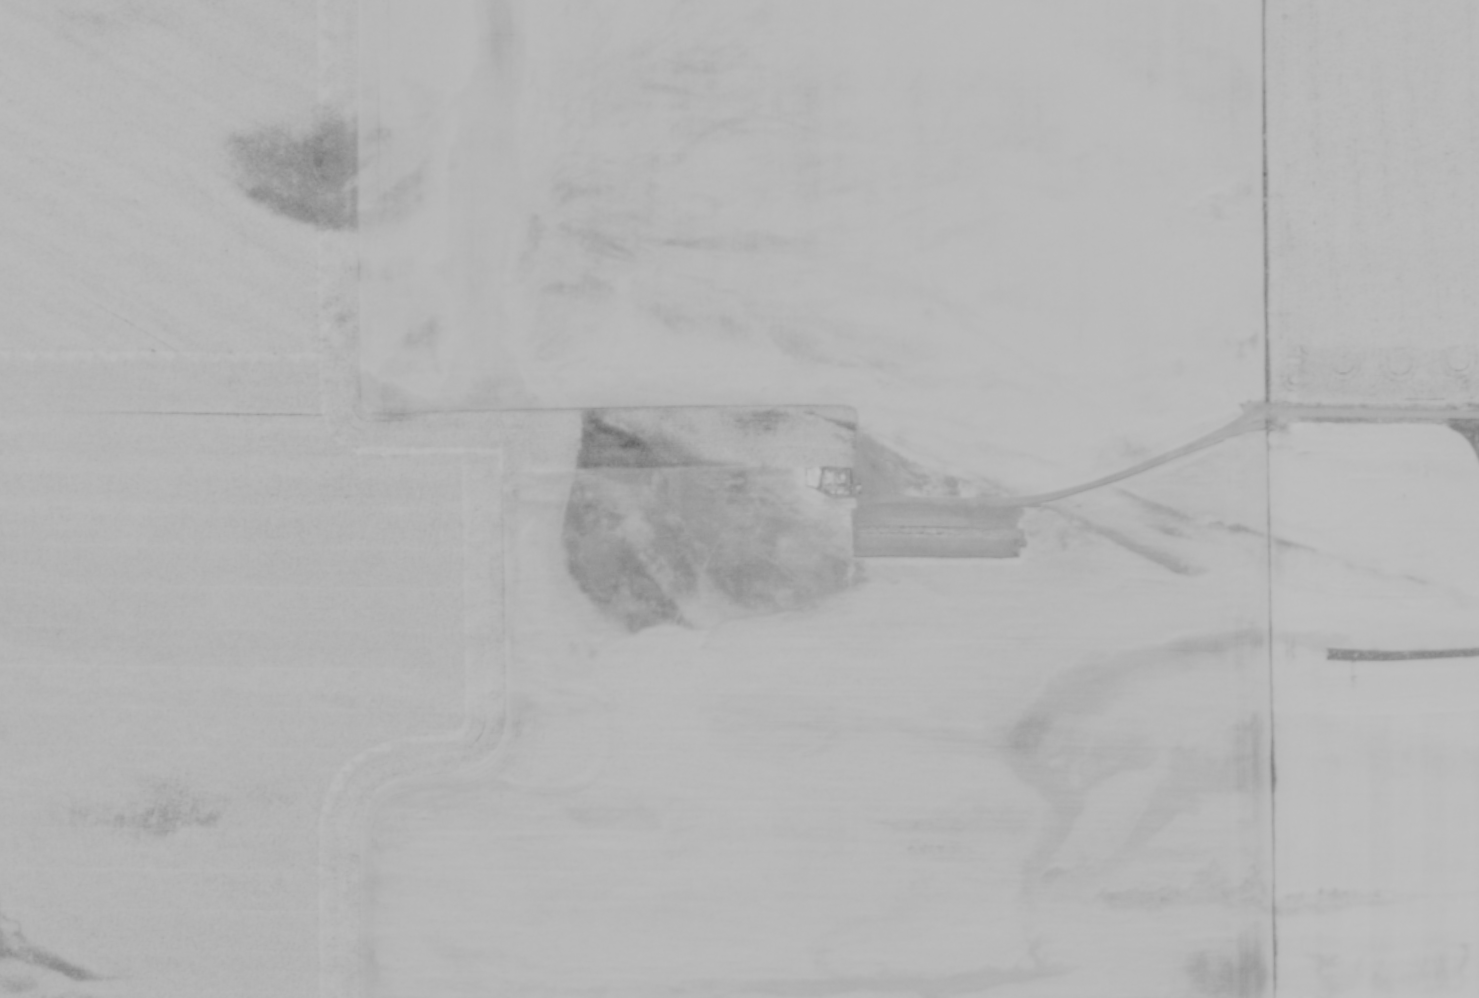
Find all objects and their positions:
road: (1384, 412)

